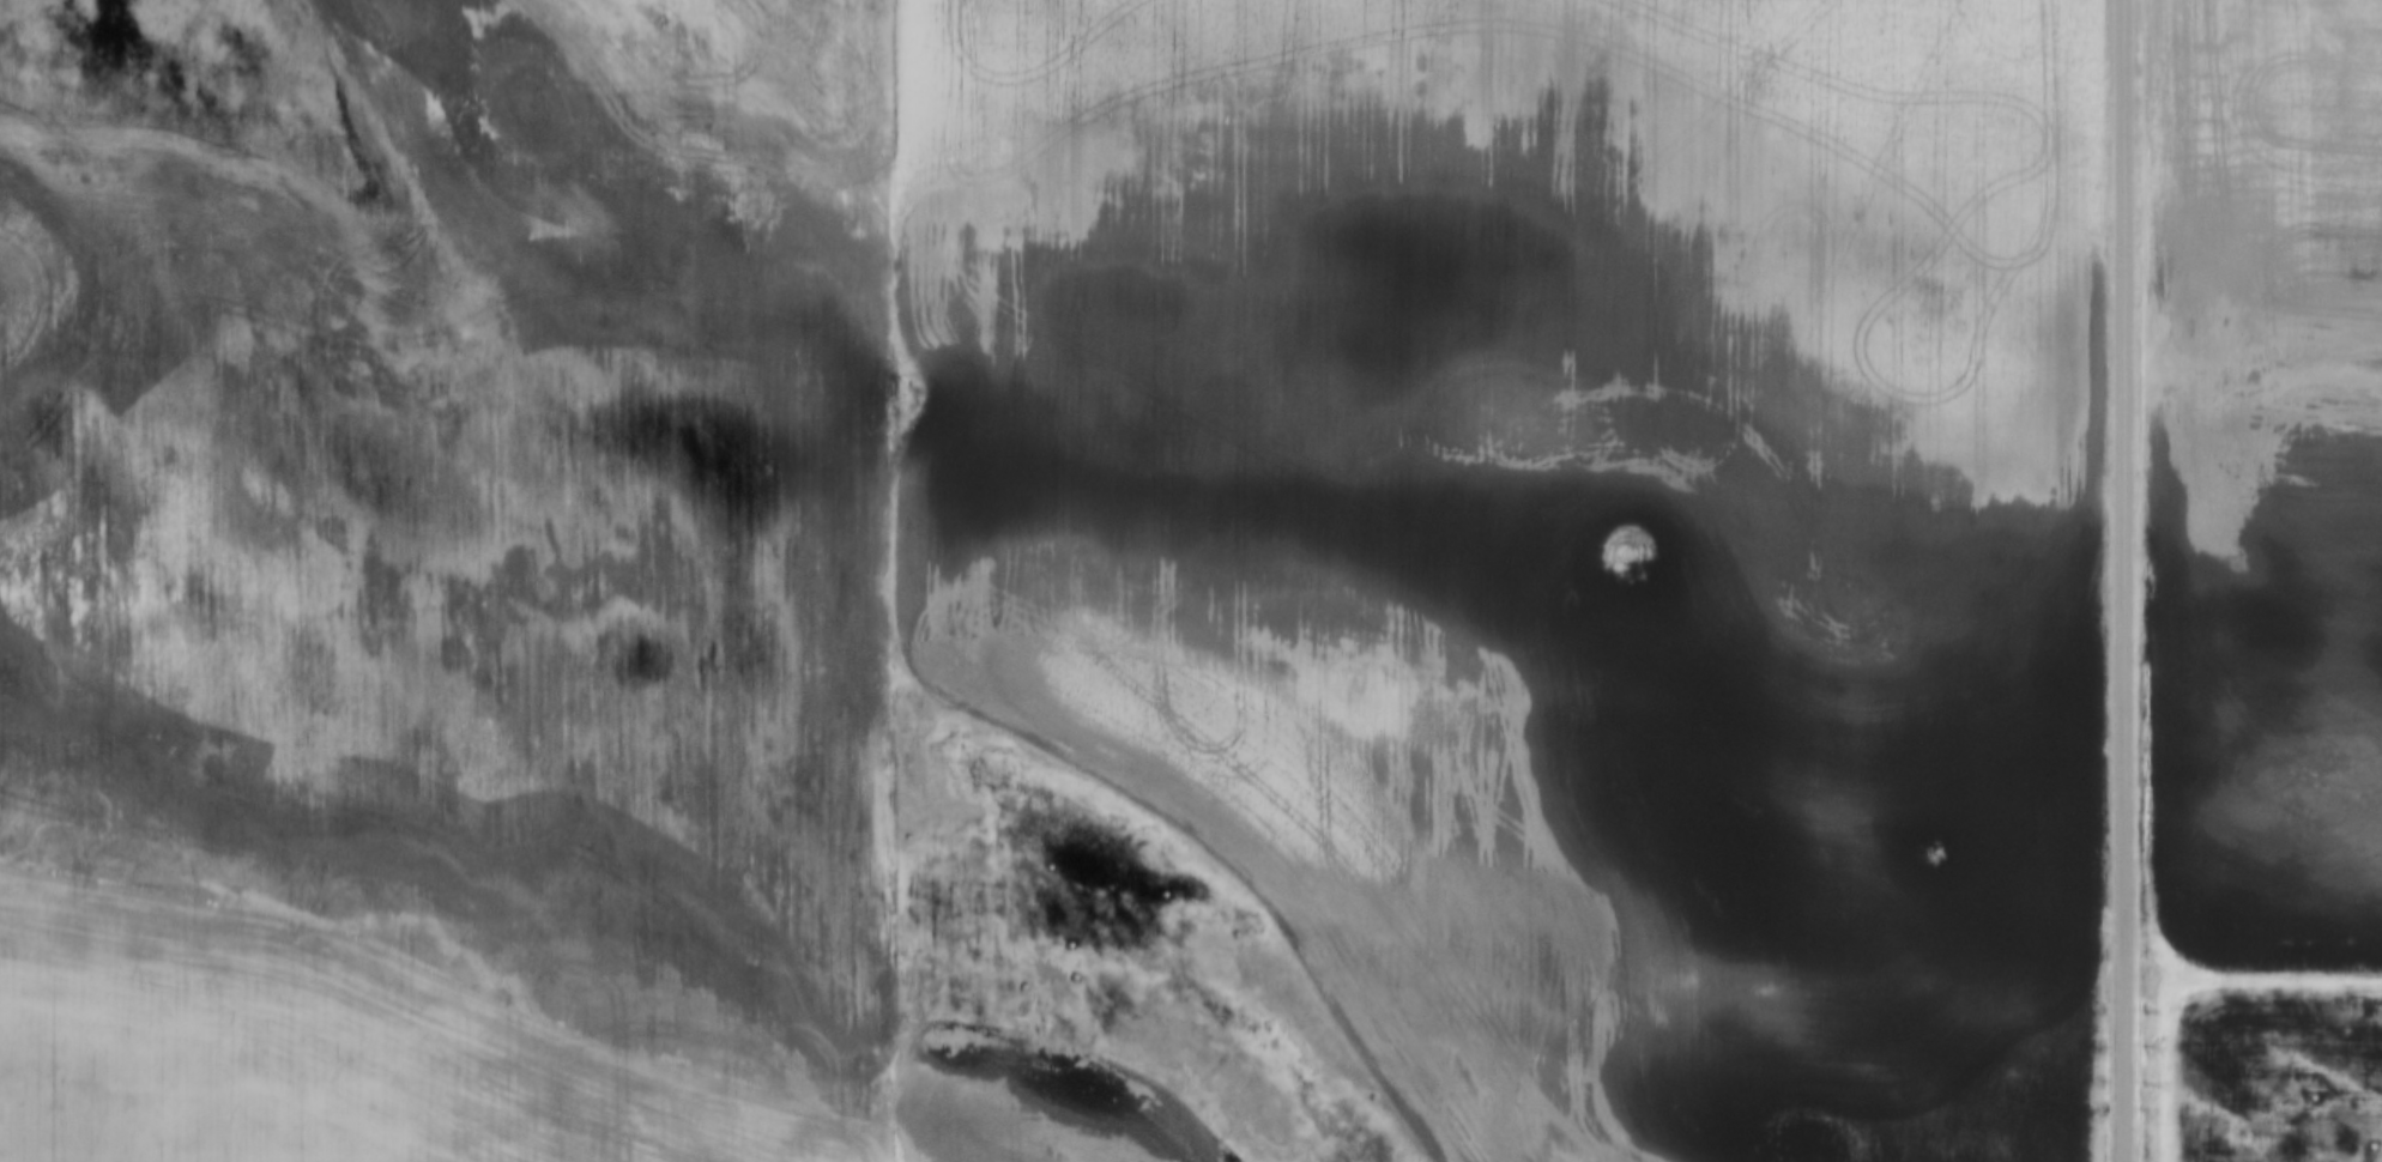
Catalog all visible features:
road: (2123, 581)

